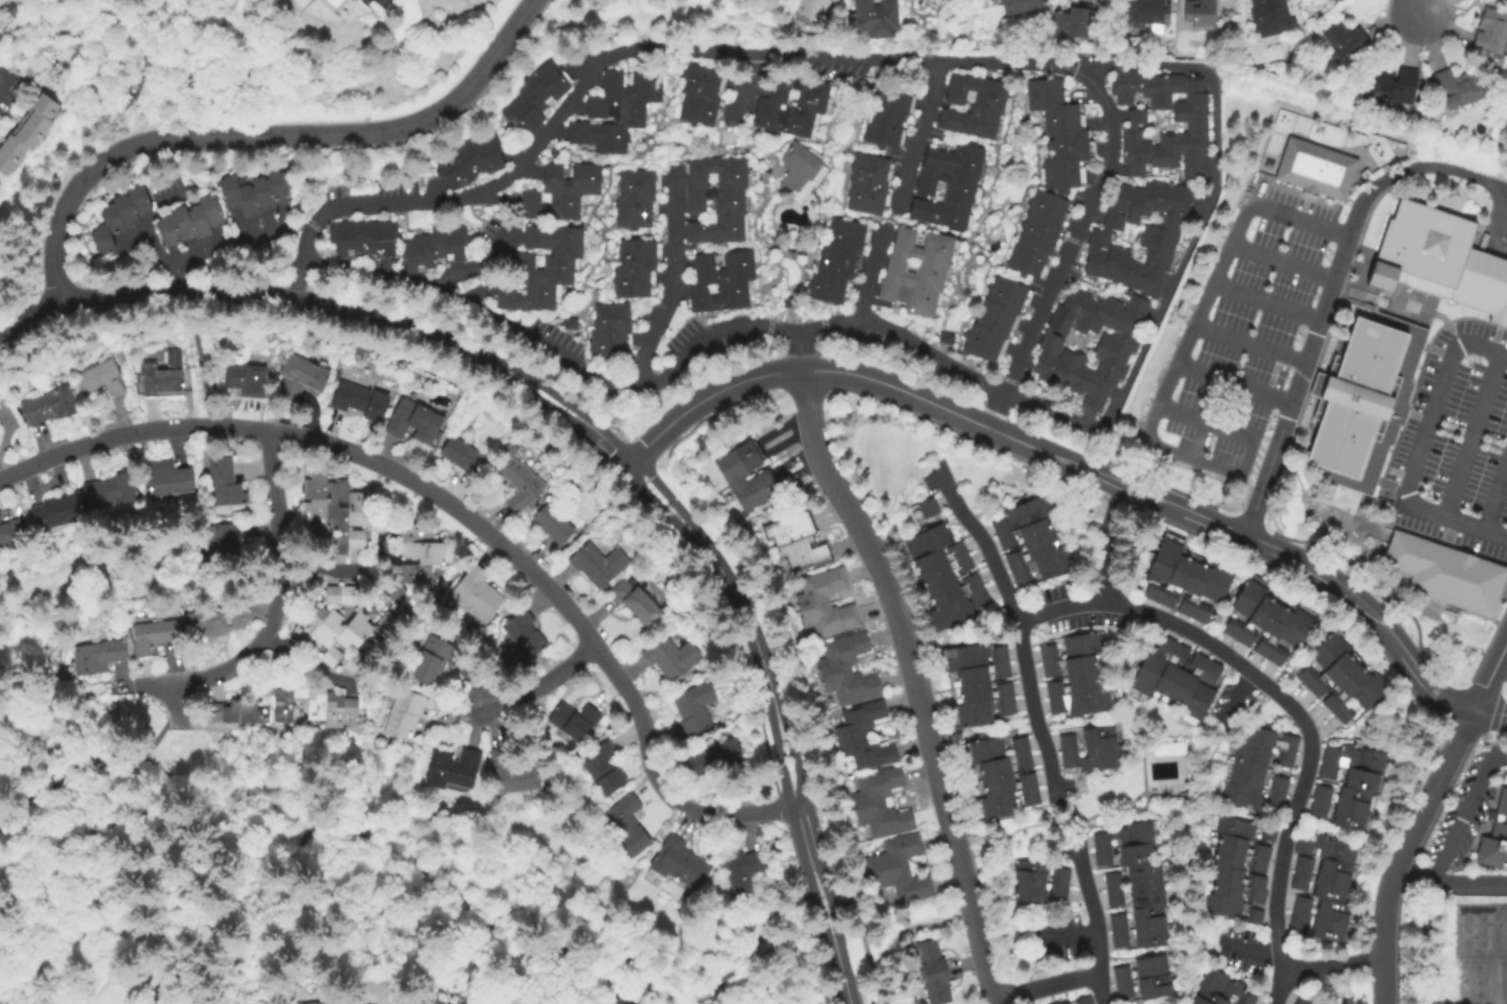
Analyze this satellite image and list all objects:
building: (934, 2)
building: (341, 5)
building: (1020, 6)
building: (809, 8)
road: (1418, 8)
building: (12, 11)
building: (1144, 11)
building: (1200, 13)
building: (876, 16)
building: (1271, 17)
building: (1073, 21)
building: (1492, 32)
building: (1346, 41)
road: (831, 56)
road: (3, 80)
building: (1394, 86)
road: (748, 87)
building: (1146, 88)
building: (1458, 88)
building: (698, 94)
building: (535, 95)
building: (789, 105)
building: (971, 105)
building: (615, 110)
building: (885, 116)
building: (31, 135)
building: (1057, 135)
road: (920, 136)
road: (266, 137)
building: (1171, 137)
building: (465, 161)
road: (191, 165)
building: (796, 166)
building: (1317, 168)
building: (868, 170)
building: (637, 185)
building: (944, 185)
building: (1, 190)
building: (560, 190)
building: (258, 192)
building: (864, 197)
building: (714, 198)
road: (1210, 200)
building: (630, 213)
building: (116, 216)
building: (193, 222)
road: (309, 223)
building: (1035, 233)
building: (844, 234)
building: (361, 238)
building: (1159, 238)
building: (432, 247)
building: (1420, 251)
building: (636, 253)
building: (834, 260)
road: (1282, 264)
road: (475, 266)
building: (722, 267)
building: (536, 269)
building: (915, 270)
road: (248, 272)
building: (1466, 278)
building: (628, 281)
road: (673, 281)
road: (869, 282)
building: (1479, 283)
road: (1349, 284)
building: (824, 286)
road: (295, 288)
road: (144, 294)
building: (715, 295)
building: (1496, 295)
road: (1330, 296)
road: (1267, 303)
road: (1432, 314)
building: (611, 316)
building: (993, 319)
road: (410, 326)
parking lot: (1254, 328)
road: (829, 329)
building: (1399, 335)
road: (1250, 344)
building: (605, 345)
road: (802, 351)
building: (1114, 351)
road: (556, 354)
road: (931, 356)
building: (1393, 363)
road: (202, 369)
building: (58, 372)
building: (338, 373)
building: (165, 375)
building: (250, 376)
building: (303, 376)
building: (104, 377)
building: (139, 377)
road: (1168, 380)
building: (1389, 380)
road: (1234, 385)
building: (1385, 391)
building: (1342, 393)
road: (555, 396)
building: (363, 399)
road: (706, 400)
building: (50, 404)
road: (545, 406)
building: (1381, 408)
road: (1051, 411)
road: (967, 419)
building: (417, 420)
building: (1372, 429)
road: (1473, 434)
parking lot: (1458, 443)
road: (605, 445)
road: (1421, 450)
building: (464, 453)
building: (1357, 463)
building: (760, 477)
building: (171, 478)
building: (520, 478)
building: (227, 481)
building: (114, 489)
road: (663, 491)
road: (1496, 498)
road: (652, 502)
building: (331, 503)
building: (927, 506)
building: (58, 511)
road: (463, 513)
building: (1020, 514)
building: (557, 523)
building: (13, 530)
building: (1022, 533)
building: (222, 539)
building: (926, 539)
building: (796, 540)
road: (1108, 543)
road: (985, 545)
building: (1030, 550)
building: (937, 556)
building: (419, 557)
building: (1050, 560)
building: (1409, 560)
building: (596, 563)
building: (1159, 567)
building: (944, 572)
road: (1317, 572)
building: (1019, 573)
building: (1175, 578)
building: (1215, 581)
building: (1464, 583)
building: (1191, 585)
building: (952, 588)
building: (391, 590)
building: (479, 593)
building: (1247, 595)
building: (639, 601)
road: (276, 603)
building: (825, 603)
building: (956, 609)
building: (1198, 612)
building: (1256, 617)
building: (213, 622)
building: (1296, 625)
building: (1230, 626)
building: (1271, 627)
building: (342, 631)
building: (154, 635)
building: (525, 638)
building: (1082, 644)
building: (1328, 648)
road: (1220, 651)
building: (1046, 652)
building: (1274, 654)
building: (973, 655)
building: (97, 656)
building: (671, 657)
building: (431, 660)
road: (309, 665)
building: (1150, 665)
building: (1066, 666)
building: (845, 669)
building: (1169, 669)
building: (1208, 669)
road: (1488, 672)
building: (981, 673)
building: (1329, 673)
building: (1304, 675)
building: (1185, 677)
road: (913, 681)
building: (1070, 683)
road: (539, 685)
road: (769, 686)
building: (1343, 686)
building: (1366, 690)
building: (984, 691)
building: (309, 701)
building: (1079, 701)
building: (1194, 703)
road: (1497, 703)
road: (178, 704)
building: (1004, 705)
building: (694, 707)
building: (236, 711)
building: (405, 712)
building: (971, 712)
building: (1341, 712)
road: (1488, 713)
building: (574, 719)
building: (863, 735)
building: (1096, 736)
building: (1270, 738)
building: (1065, 741)
building: (1018, 744)
building: (1166, 747)
building: (983, 748)
building: (1251, 753)
building: (712, 757)
building: (1092, 757)
building: (1283, 757)
building: (1353, 758)
road: (87, 762)
building: (1003, 764)
building: (453, 768)
building: (602, 768)
building: (1325, 770)
building: (511, 773)
building: (1246, 774)
building: (1358, 779)
building: (1006, 782)
building: (1277, 784)
building: (1320, 793)
building: (1028, 795)
building: (1249, 796)
building: (1350, 797)
building: (881, 804)
building: (993, 805)
building: (1317, 808)
road: (1463, 812)
building: (1346, 817)
building: (624, 826)
building: (1241, 828)
road: (353, 829)
building: (1122, 834)
building: (1494, 835)
road: (102, 839)
building: (1230, 843)
building: (1326, 847)
road: (1399, 849)
building: (1259, 851)
building: (1132, 853)
building: (1101, 856)
building: (1226, 857)
building: (679, 863)
building: (1301, 863)
building: (1256, 864)
building: (743, 869)
building: (899, 869)
building: (1333, 869)
building: (1028, 870)
road: (808, 871)
building: (1225, 872)
building: (1143, 873)
building: (1059, 875)
building: (1298, 879)
building: (1110, 880)
building: (1255, 881)
road: (1447, 884)
building: (1225, 888)
building: (1328, 888)
building: (1029, 890)
building: (1056, 892)
building: (1255, 894)
building: (1145, 895)
building: (1112, 896)
building: (1299, 904)
road: (828, 906)
building: (1228, 907)
building: (1332, 909)
building: (1146, 916)
road: (819, 919)
building: (1296, 920)
building: (1116, 921)
road: (1095, 922)
building: (1327, 929)
building: (1148, 936)
building: (1118, 937)
road: (892, 945)
road: (753, 953)
building: (1480, 955)
building: (1149, 965)
road: (1332, 965)
road: (840, 972)
building: (933, 972)
building: (1119, 973)
road: (863, 982)
building: (1222, 984)
building: (1153, 985)
road: (1046, 987)
building: (1122, 989)
road: (846, 997)
building: (1207, 997)
building: (432, 1000)
building: (1082, 1000)
building: (1299, 1001)
building: (1063, 1003)
building: (1190, 1003)
building: (1318, 1003)

